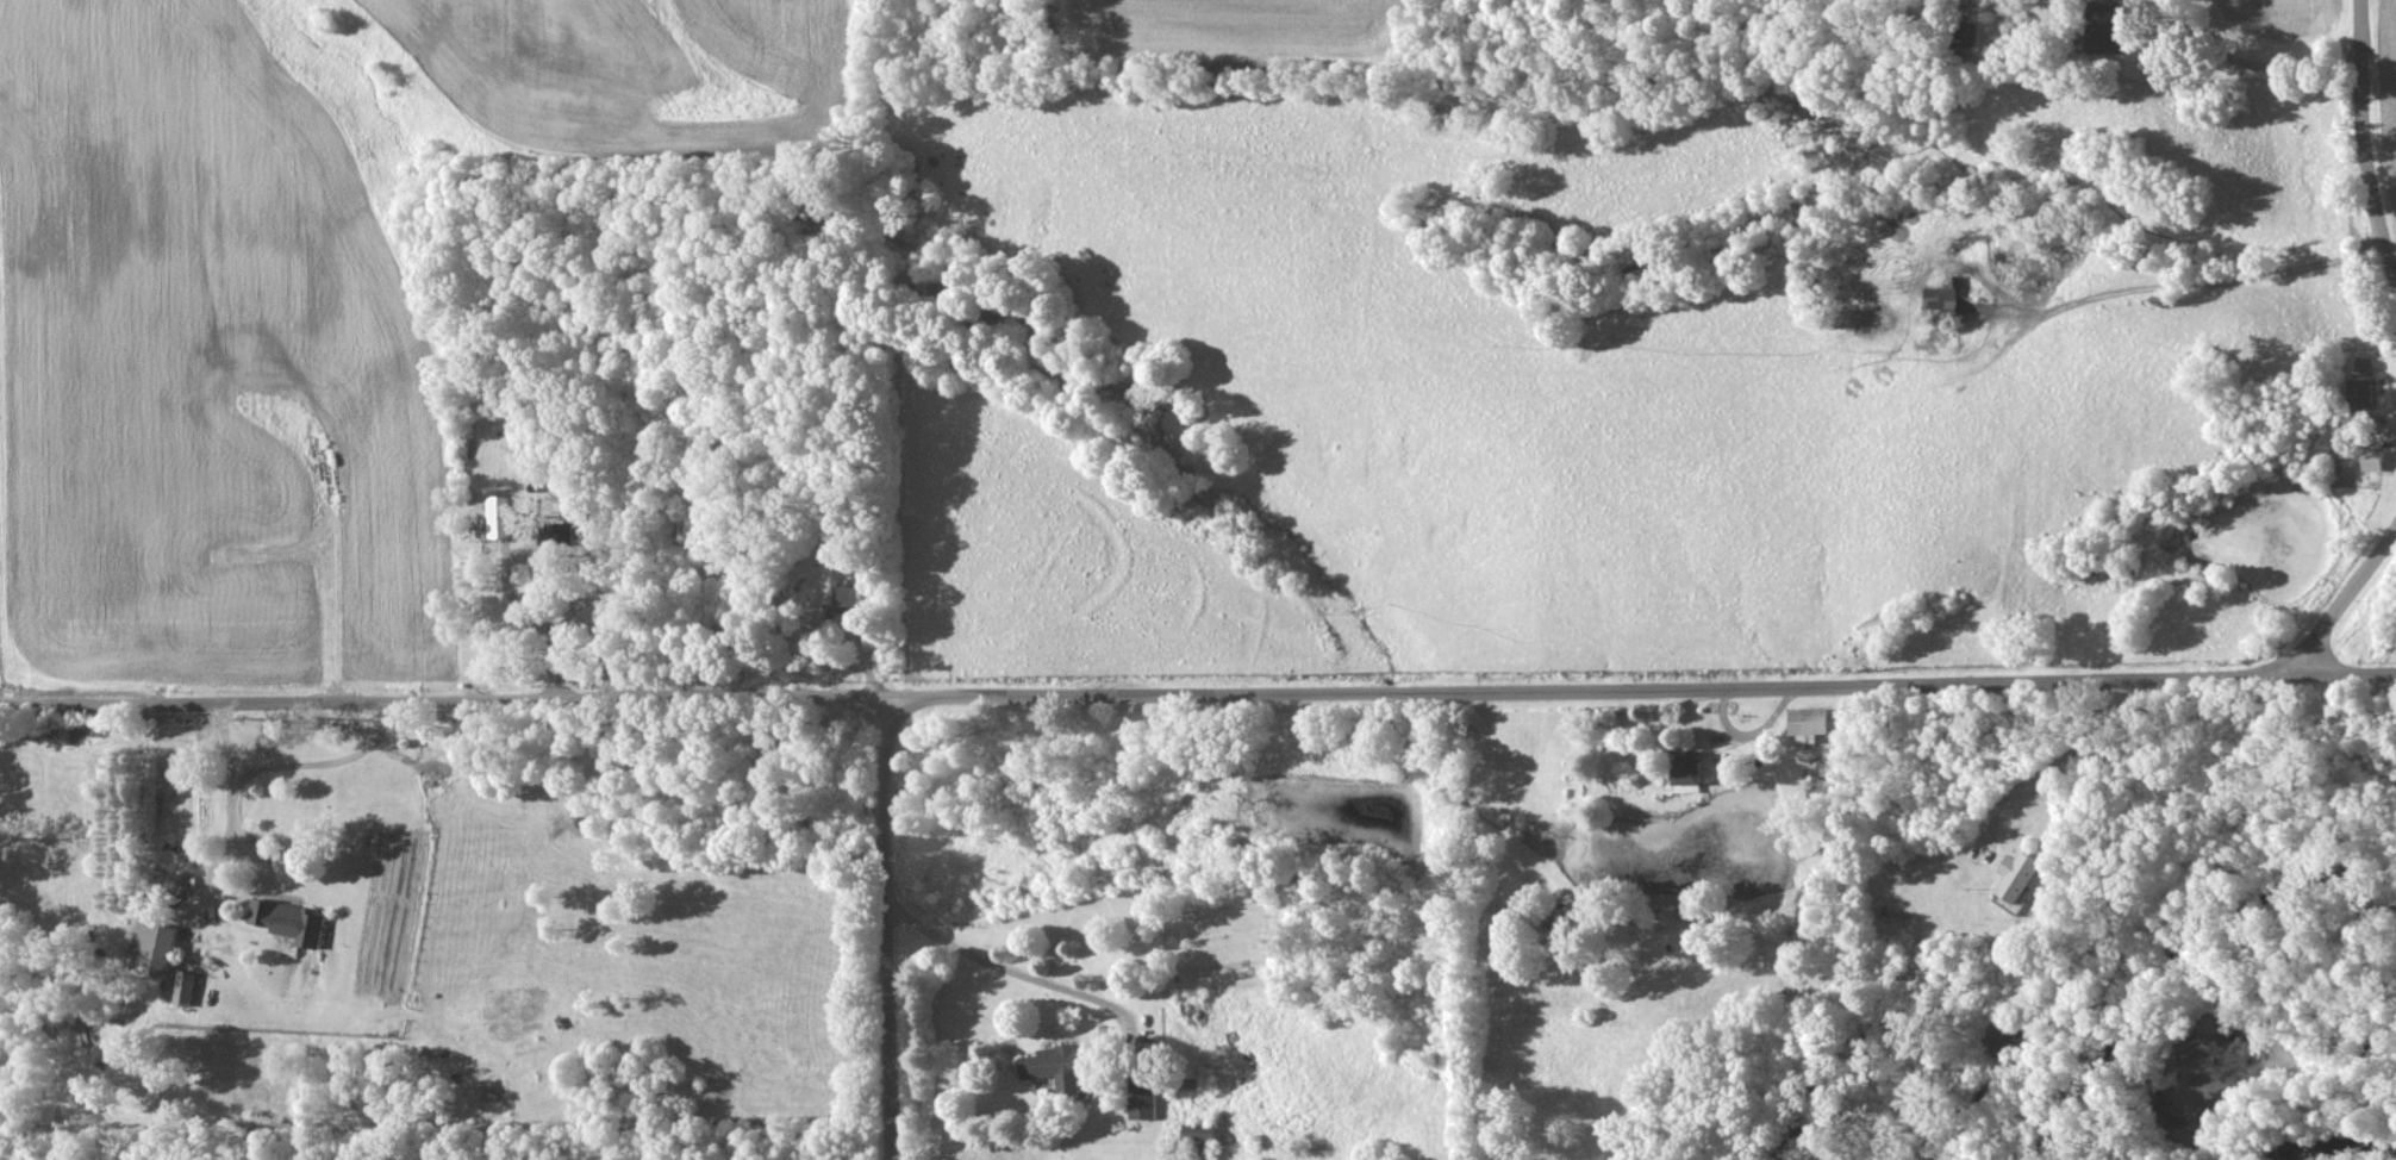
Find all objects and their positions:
building: (2096, 27)
building: (1963, 33)
road: (2245, 63)
road: (2365, 142)
building: (1943, 299)
road: (2167, 311)
building: (2357, 392)
building: (2370, 460)
building: (511, 516)
building: (854, 597)
road: (2342, 604)
road: (1198, 690)
building: (1812, 723)
road: (331, 763)
road: (2078, 767)
building: (1690, 774)
road: (220, 856)
building: (2020, 875)
building: (293, 921)
road: (2149, 921)
road: (882, 925)
building: (156, 946)
road: (1000, 971)
building: (187, 987)
building: (1059, 1067)
building: (1147, 1102)
building: (1203, 1133)

